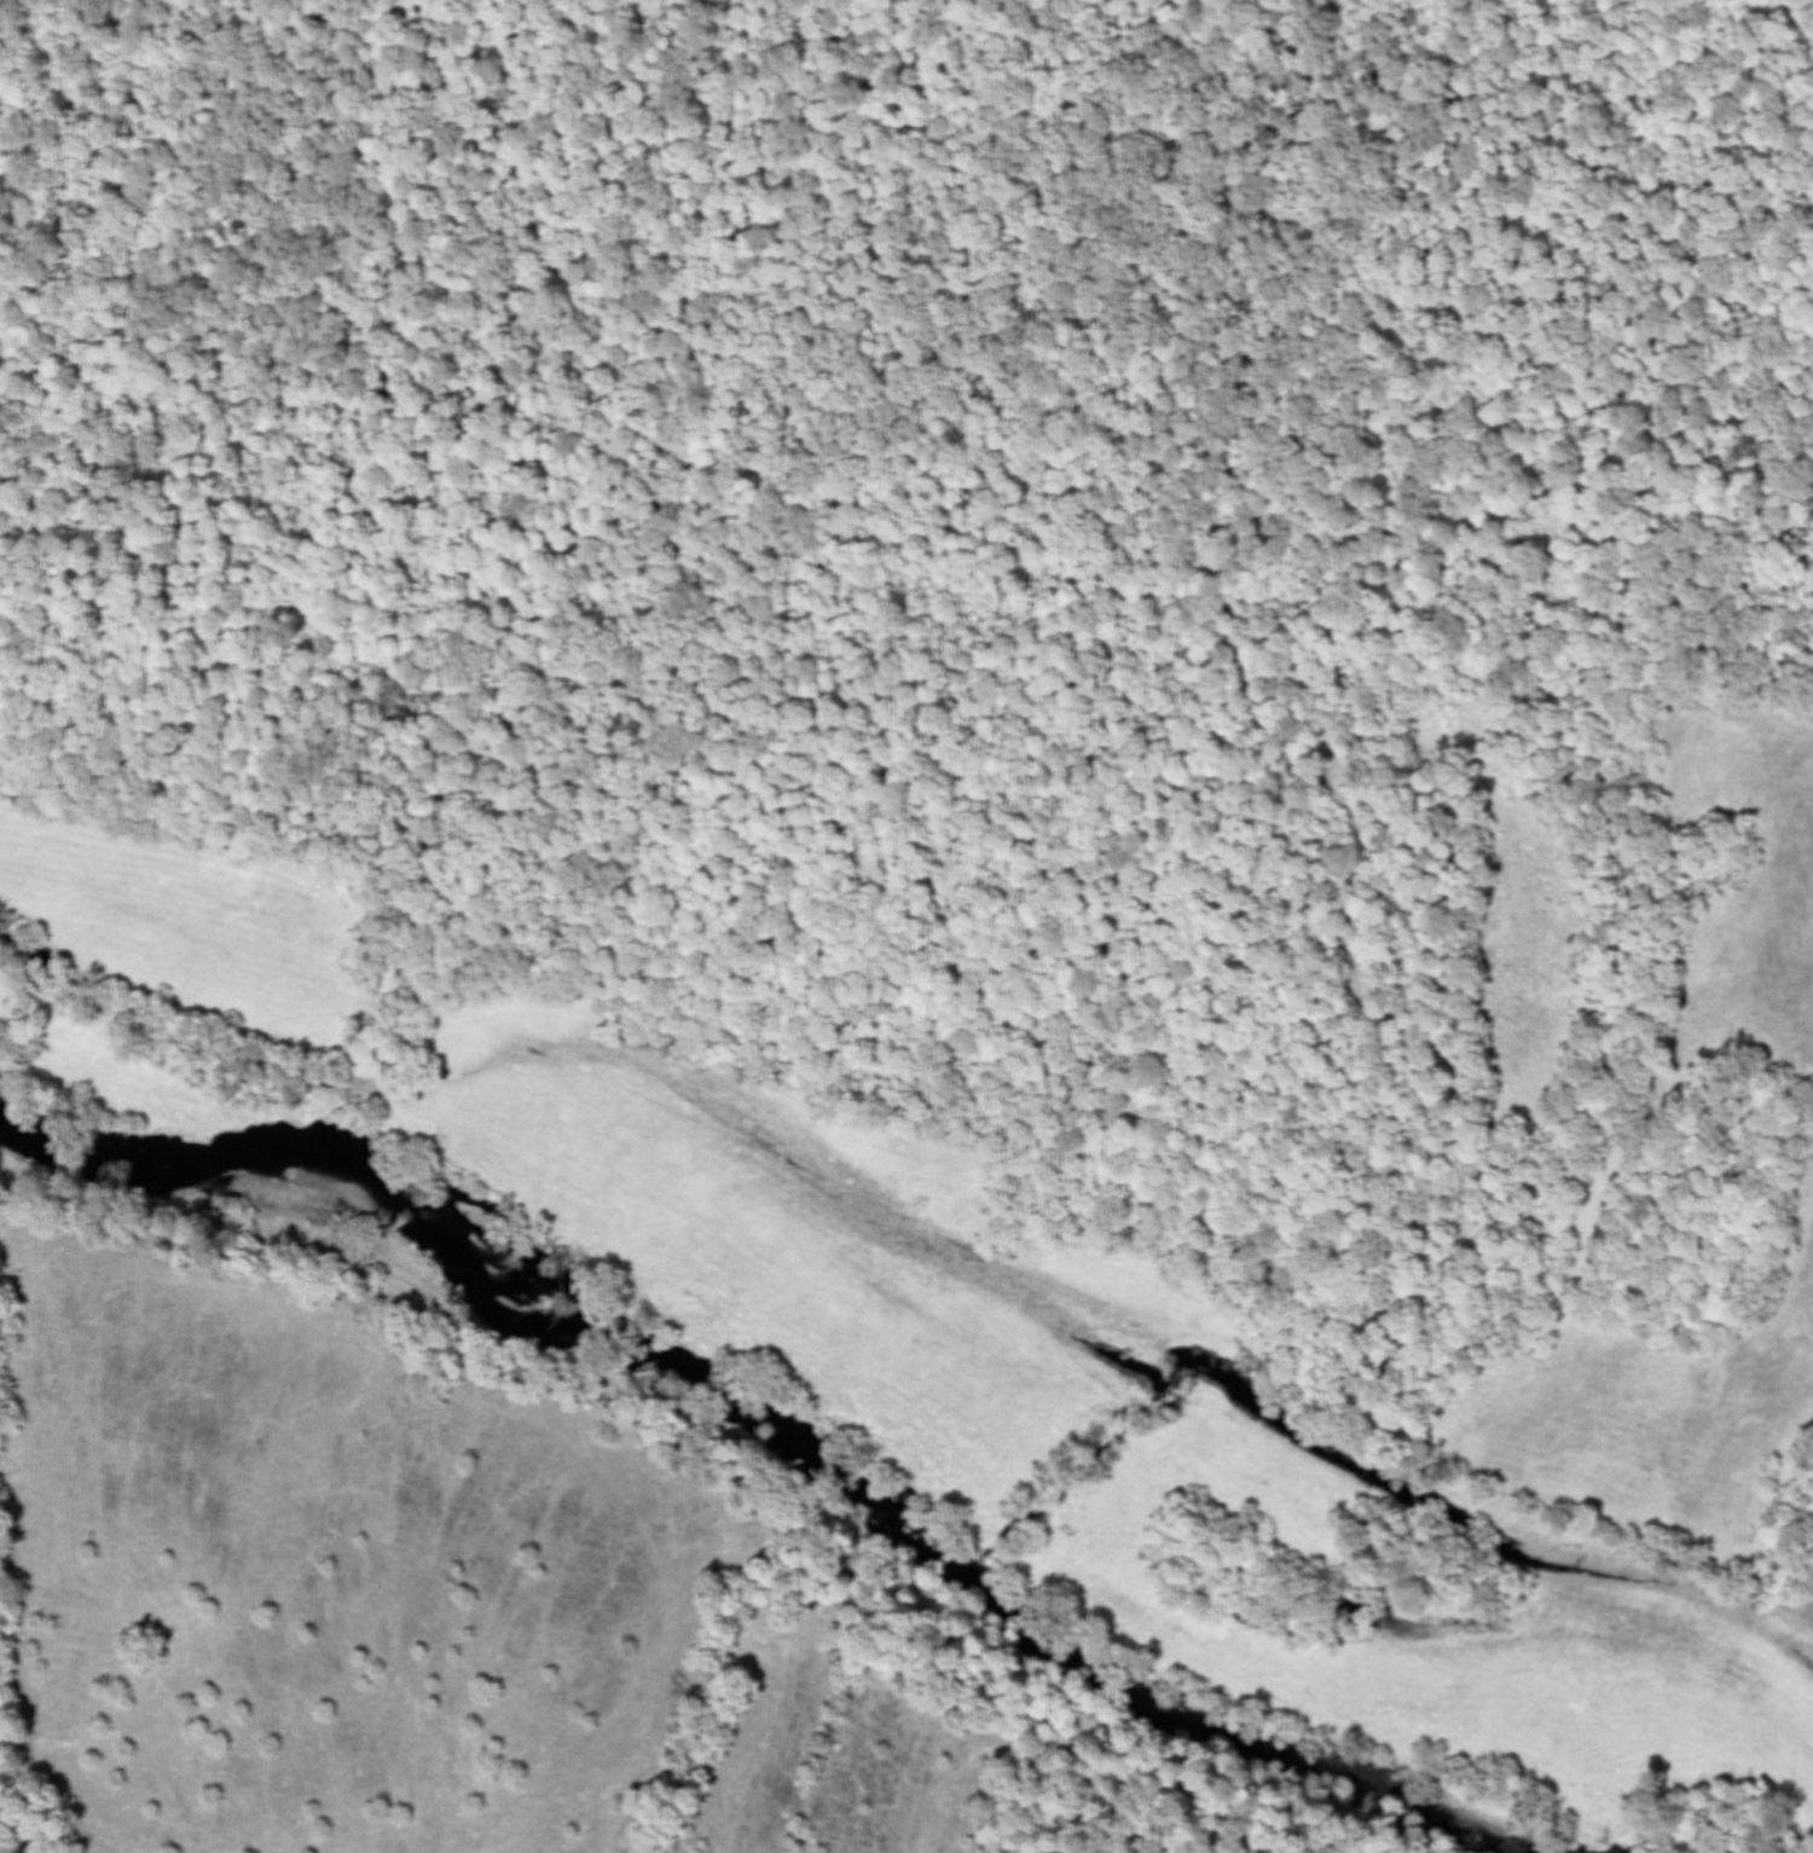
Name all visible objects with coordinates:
river: (753, 1421)

